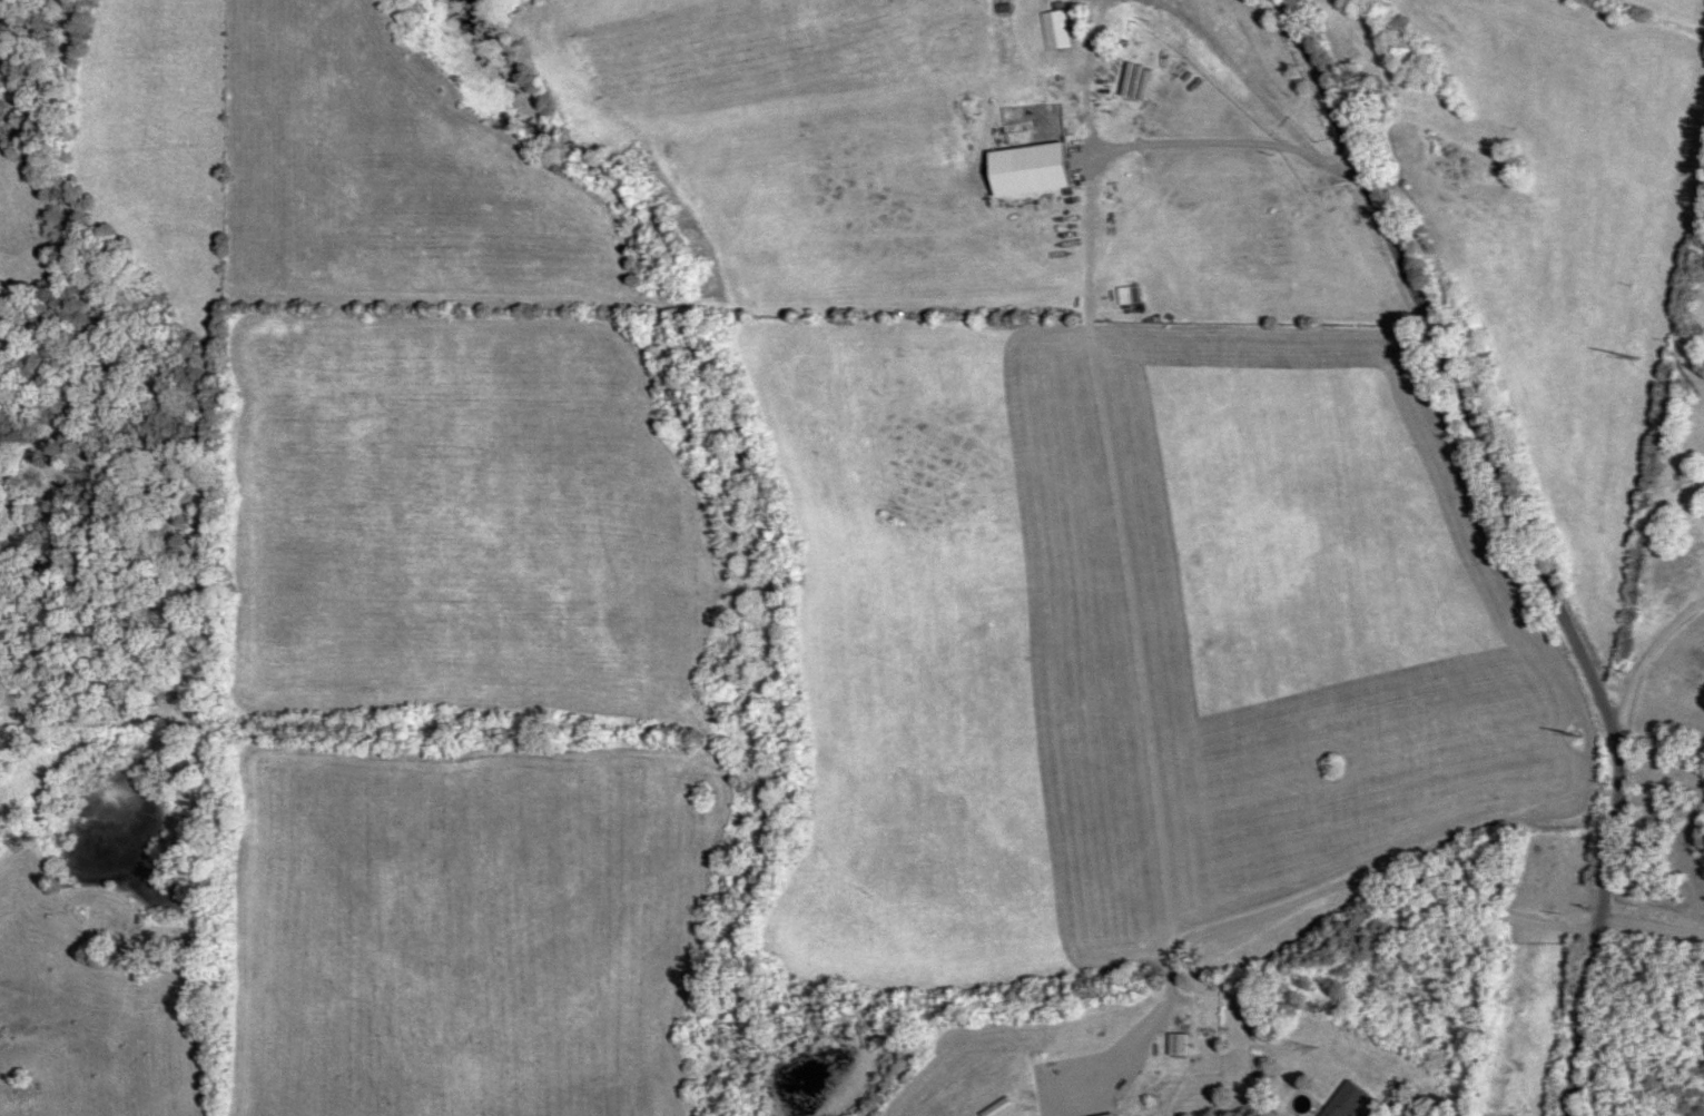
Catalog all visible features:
building: (1057, 28)
building: (1034, 168)
building: (1136, 294)
road: (1693, 491)
road: (1626, 533)
road: (1544, 547)
building: (1182, 1041)
building: (1122, 1046)
building: (1345, 1098)

